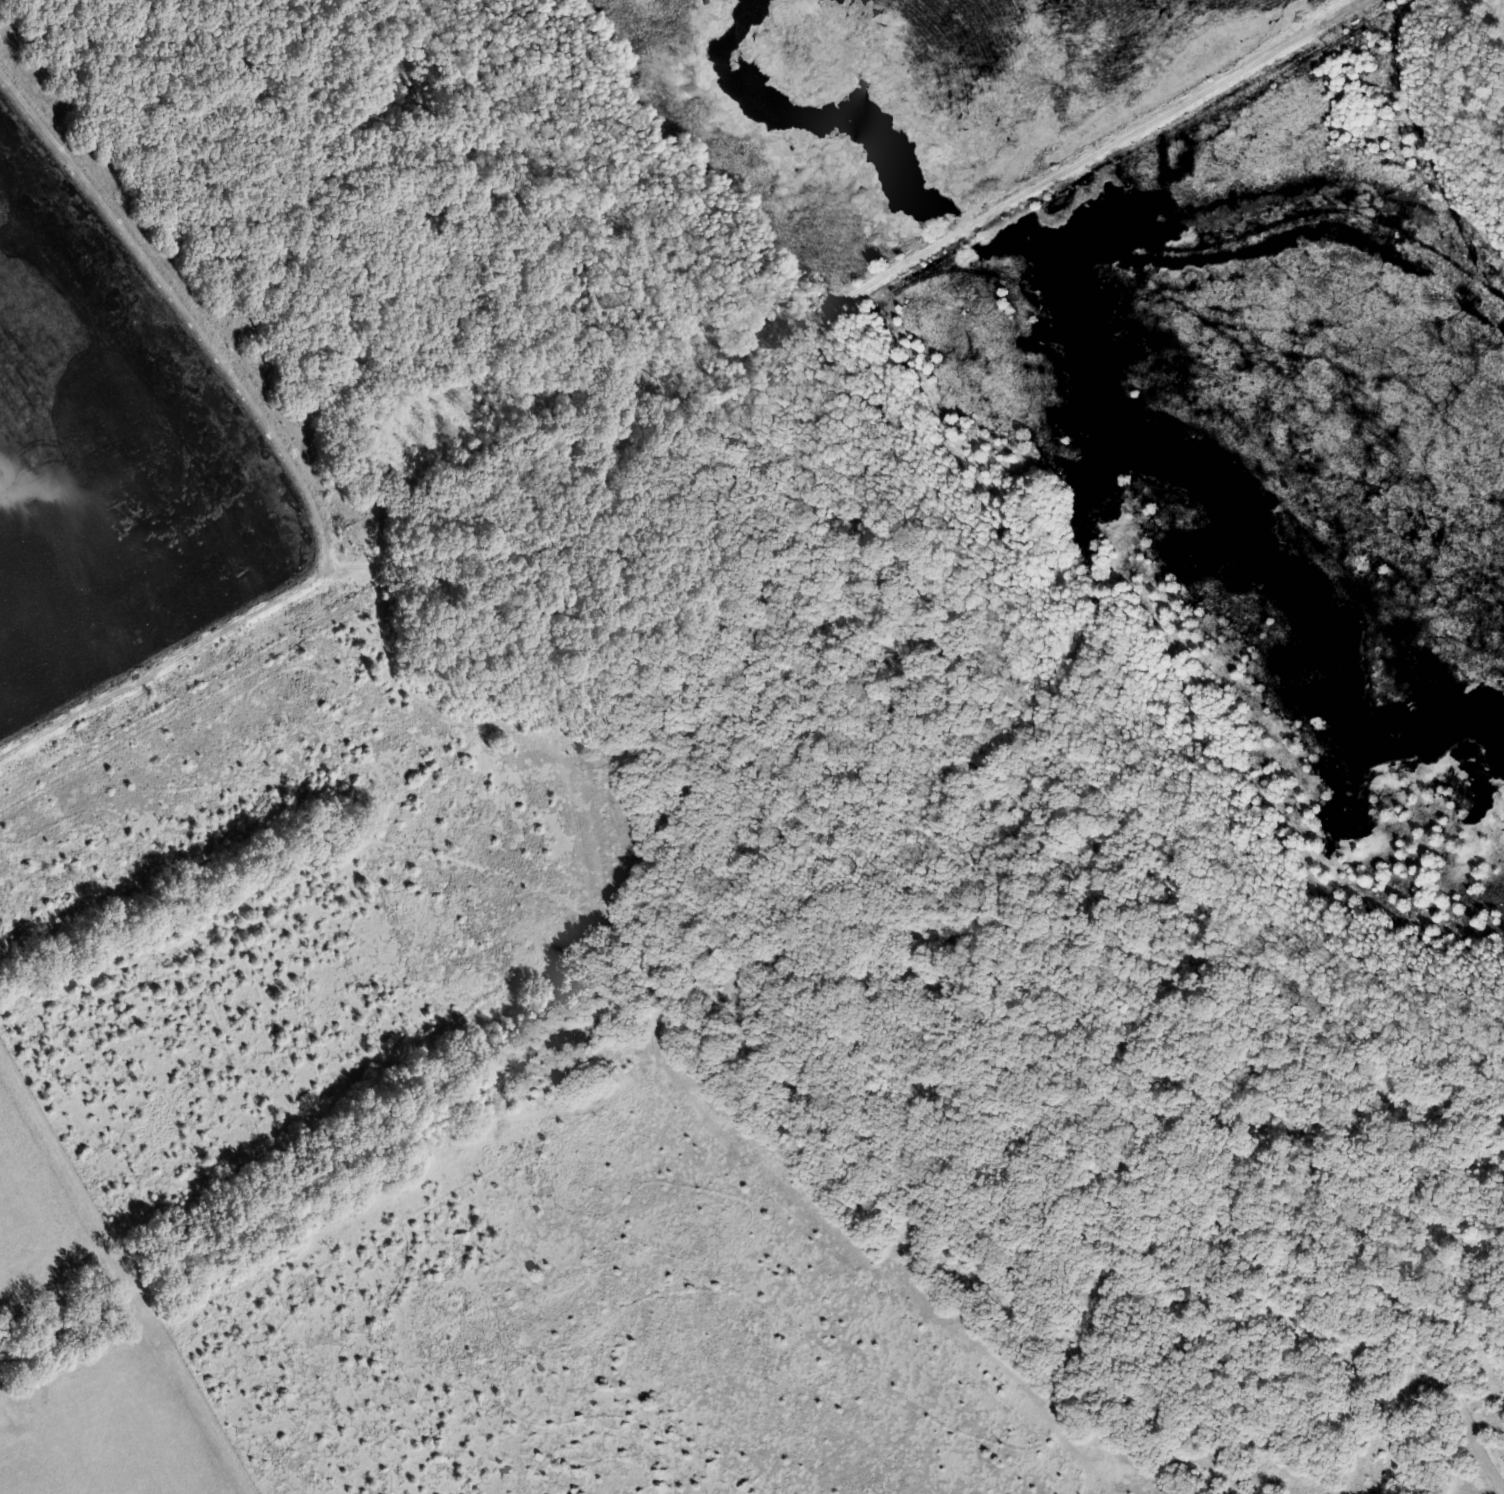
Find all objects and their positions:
road: (336, 1158)
road: (1393, 1300)

